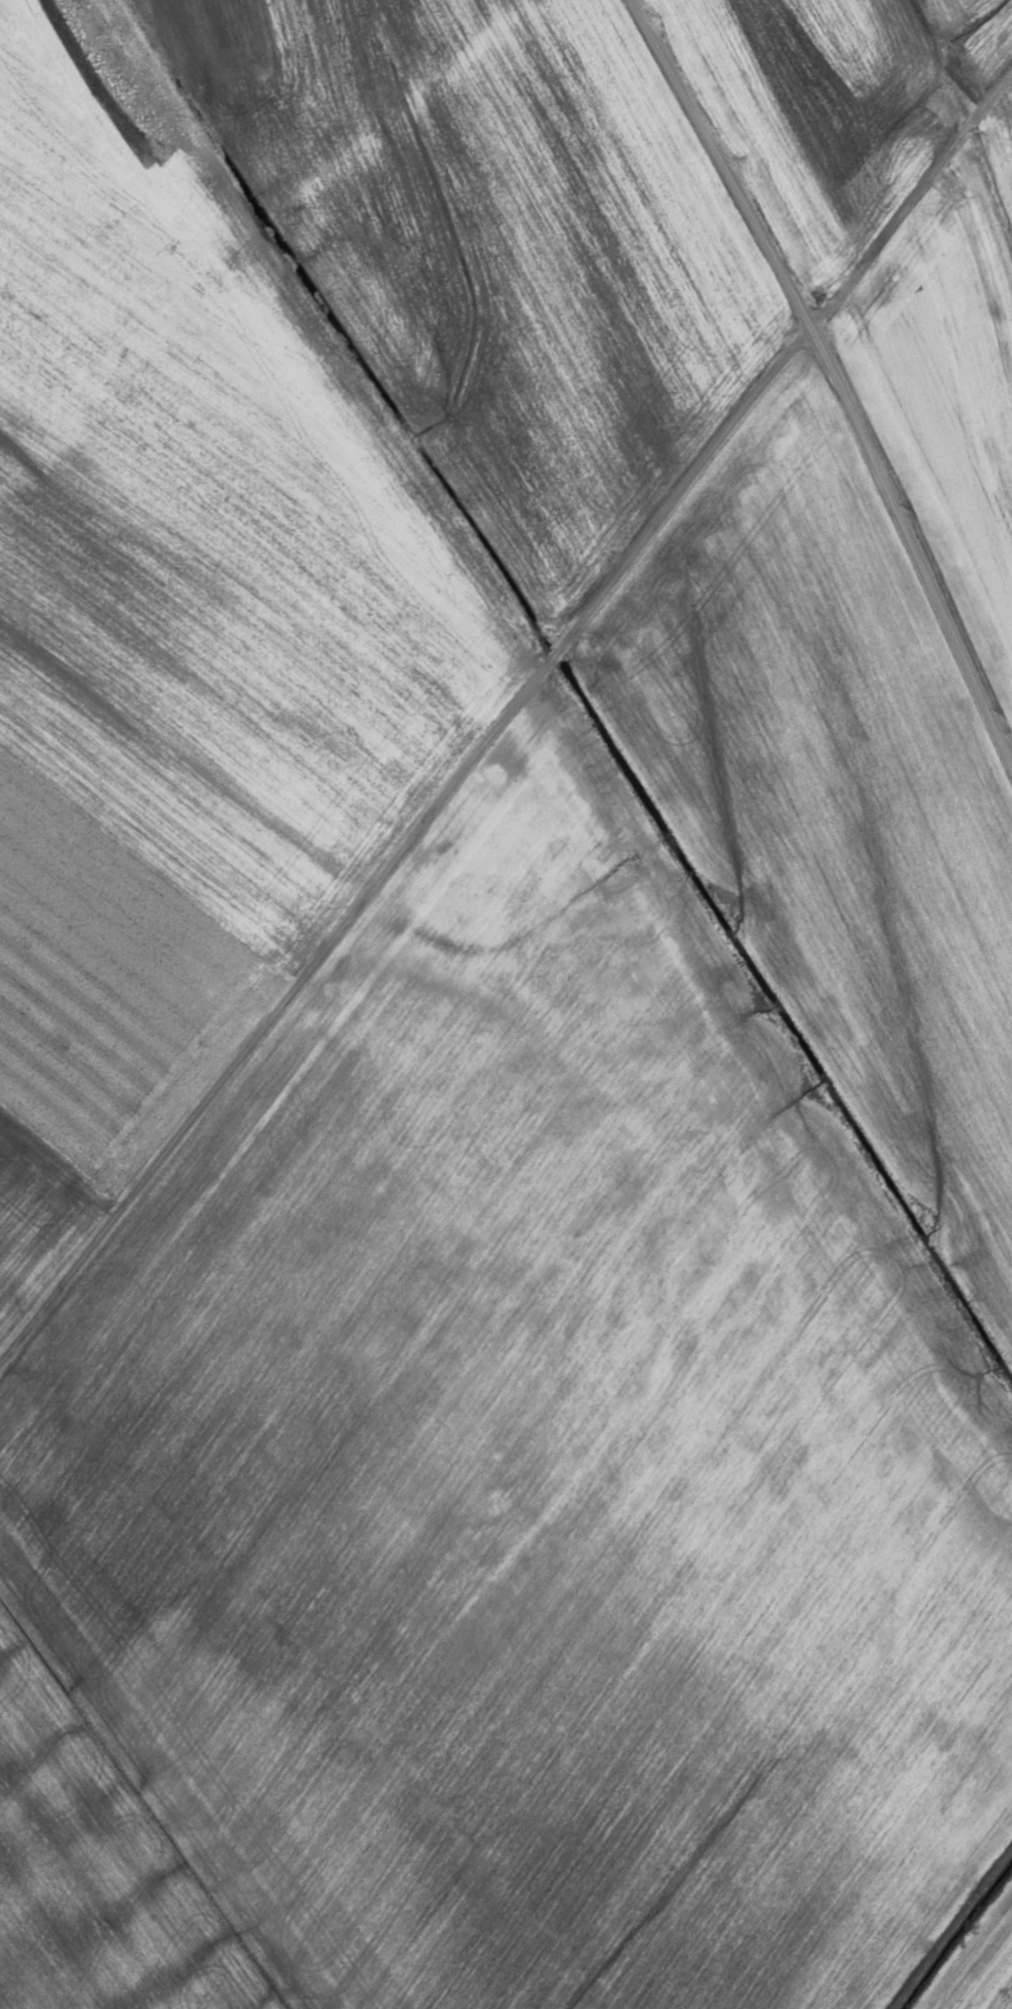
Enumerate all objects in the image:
road: (914, 197)
road: (836, 375)
road: (405, 839)

